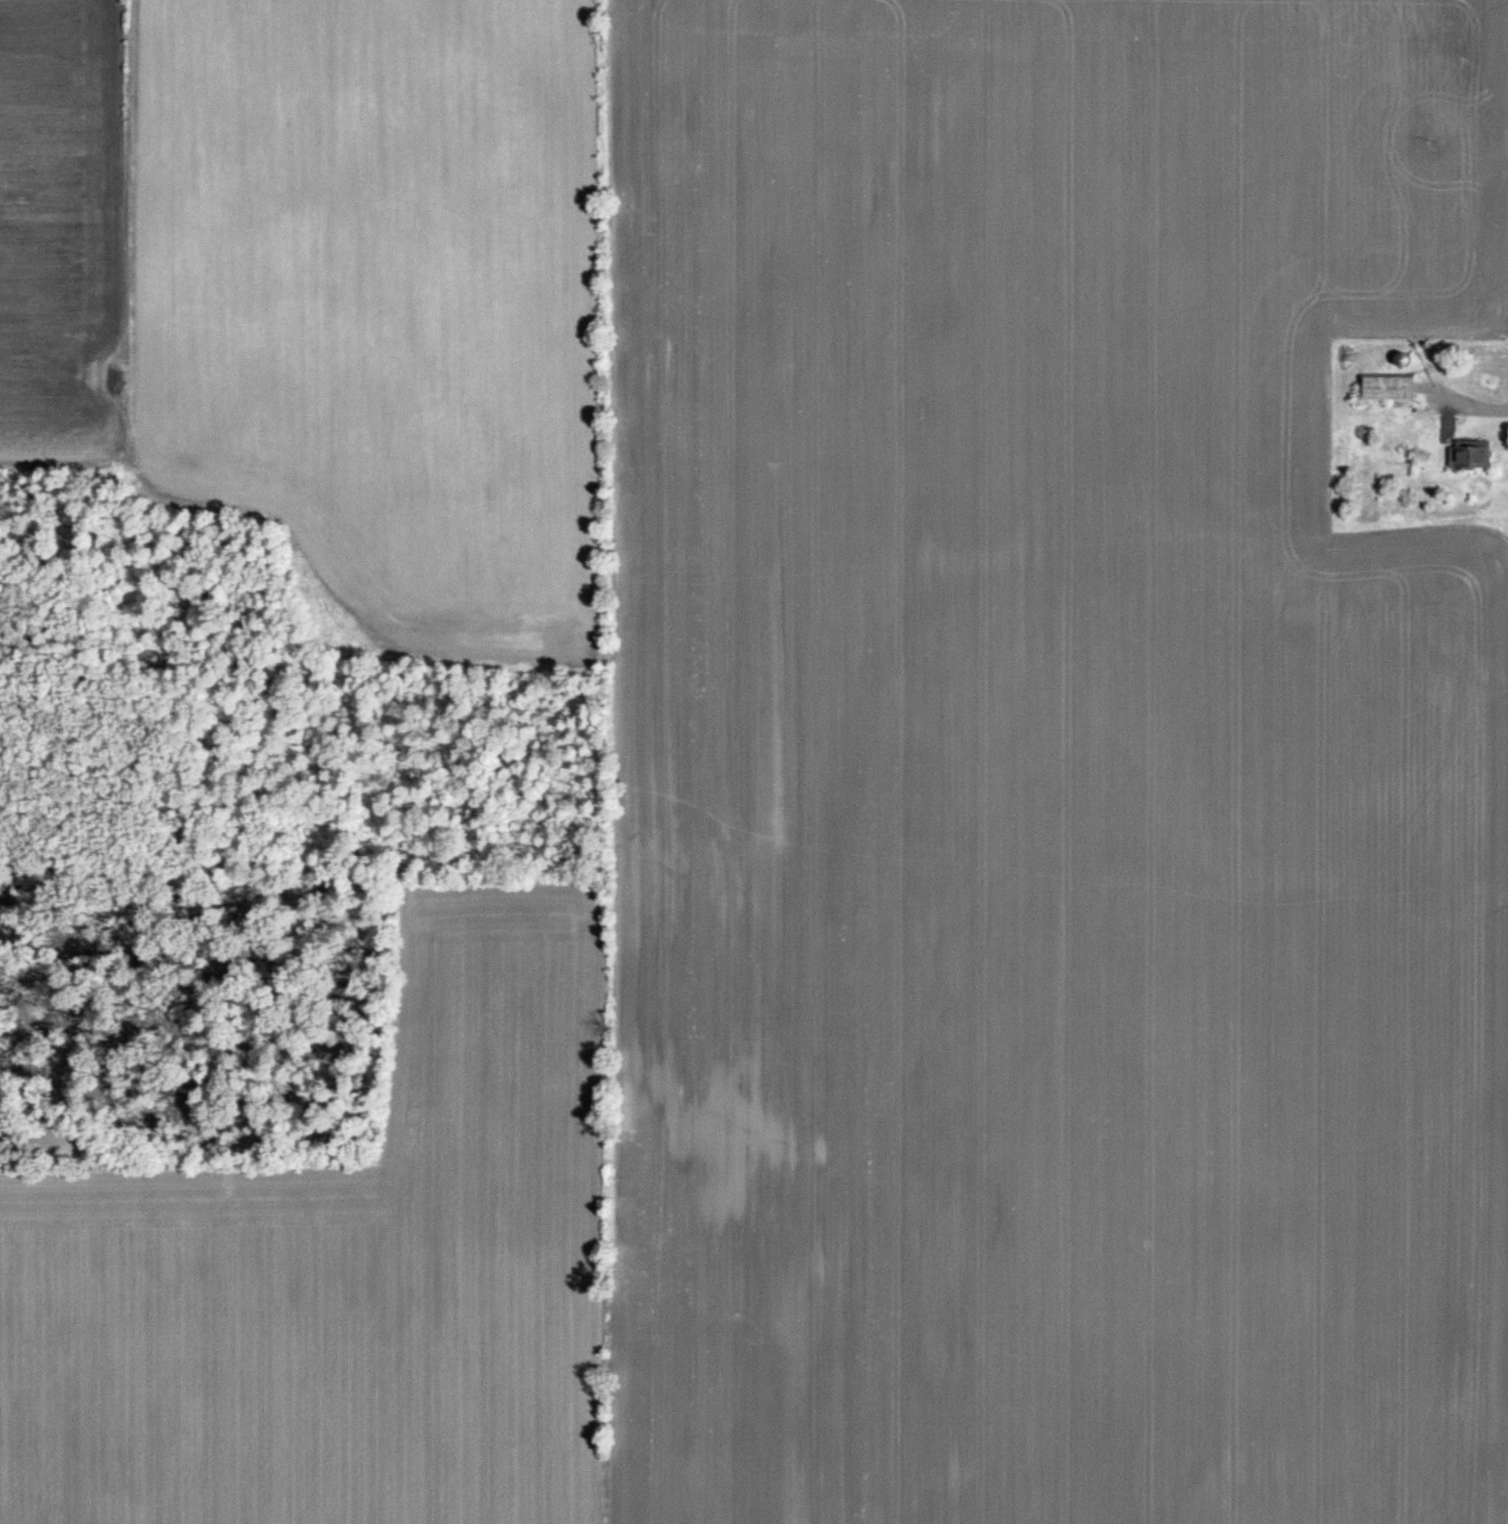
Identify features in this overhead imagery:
building: (1401, 363)
building: (1388, 392)
building: (1403, 441)
building: (1470, 458)

